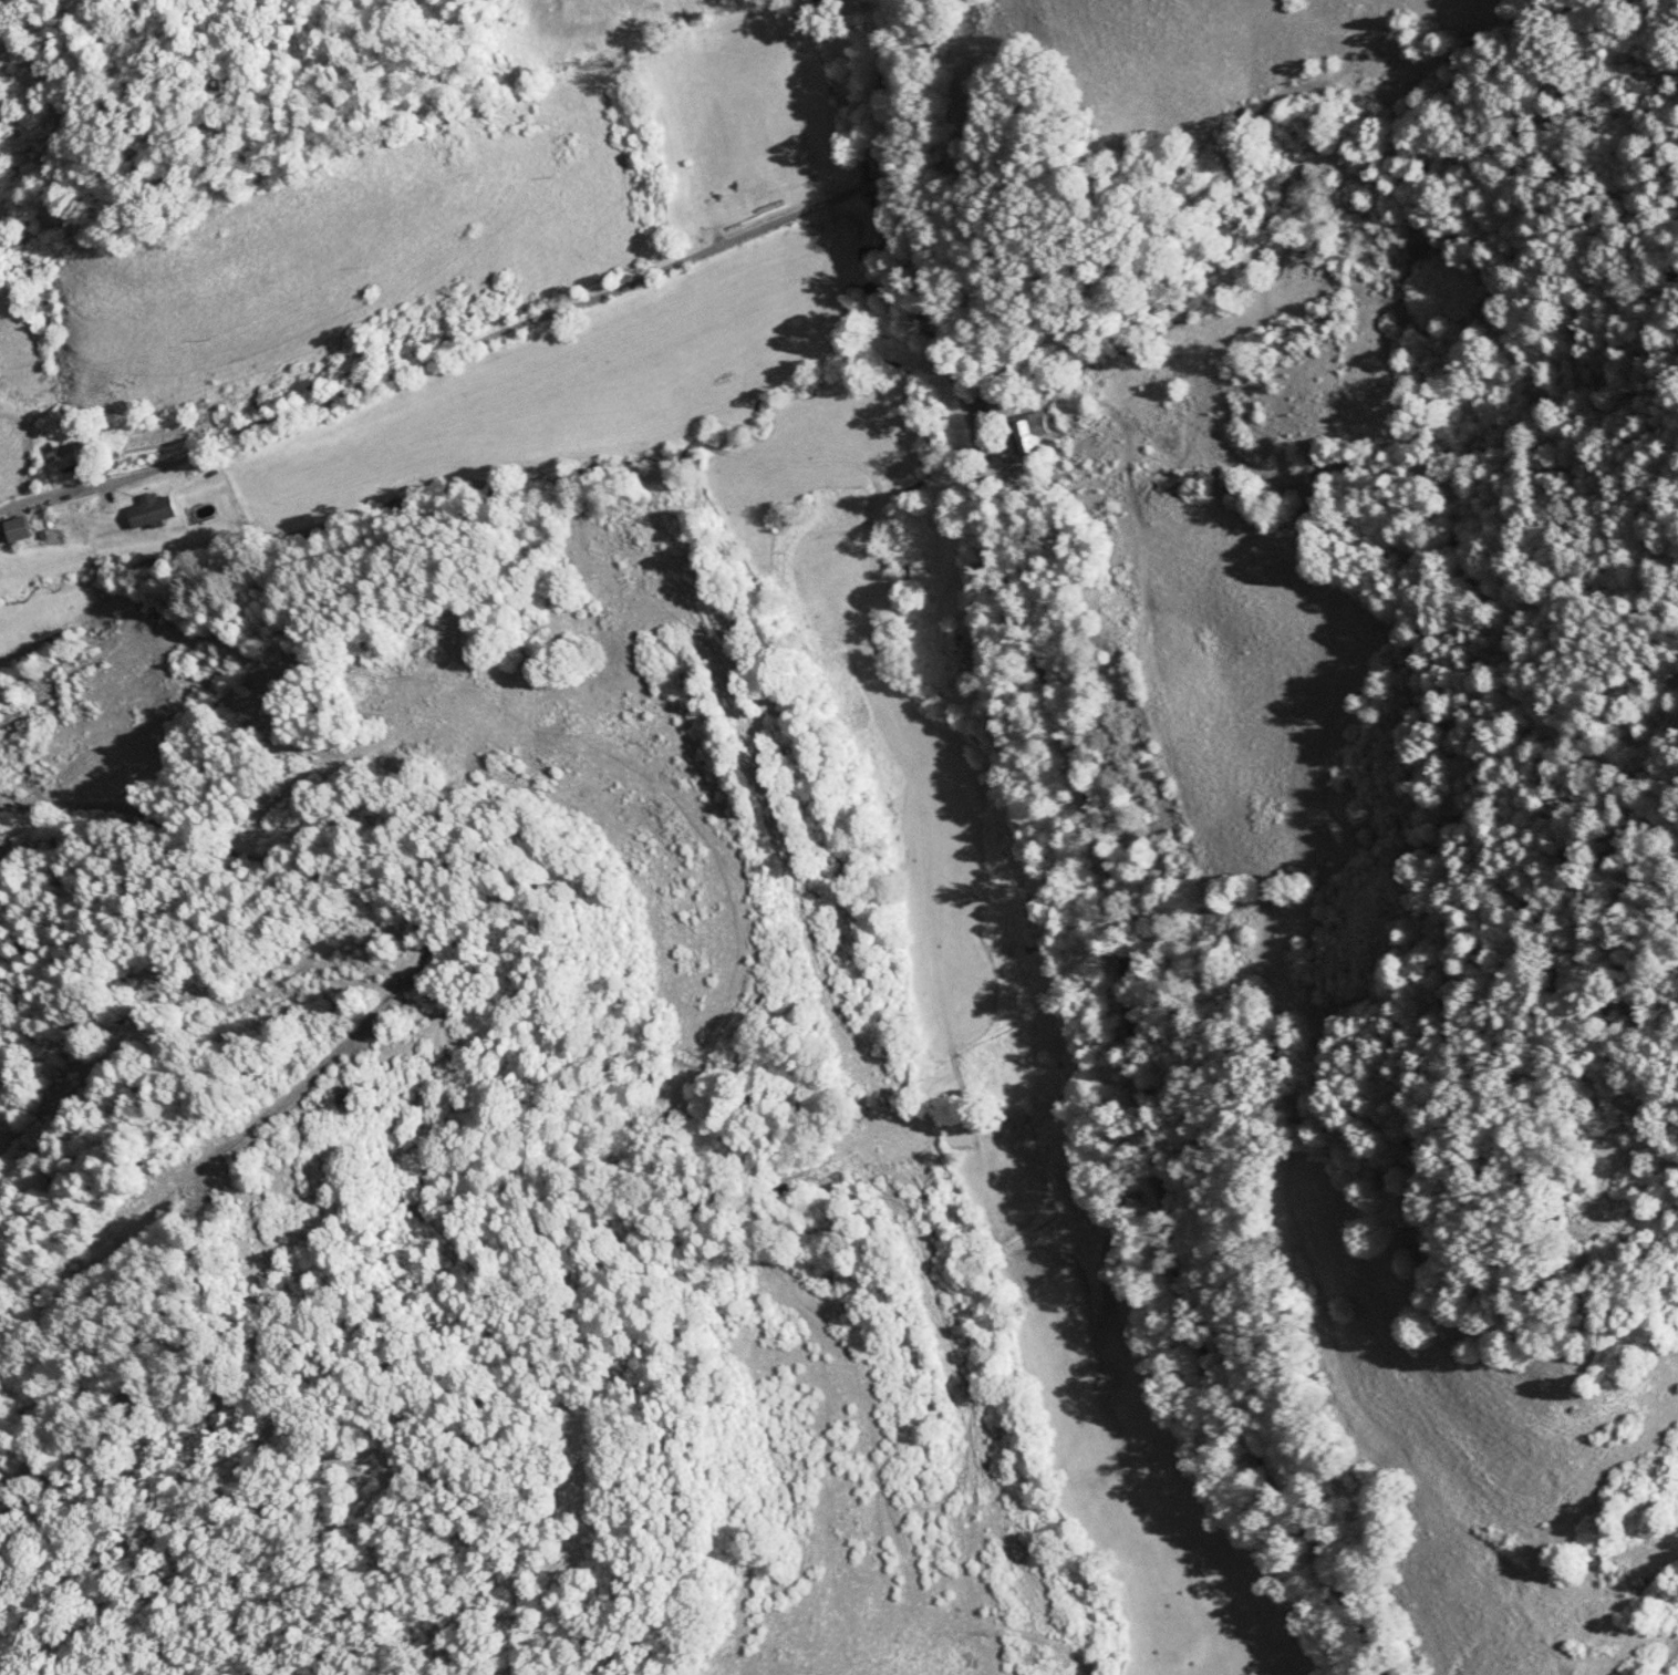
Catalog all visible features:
road: (944, 72)
road: (474, 317)
building: (1028, 433)
building: (64, 458)
building: (154, 511)
building: (21, 531)
road: (1172, 914)

